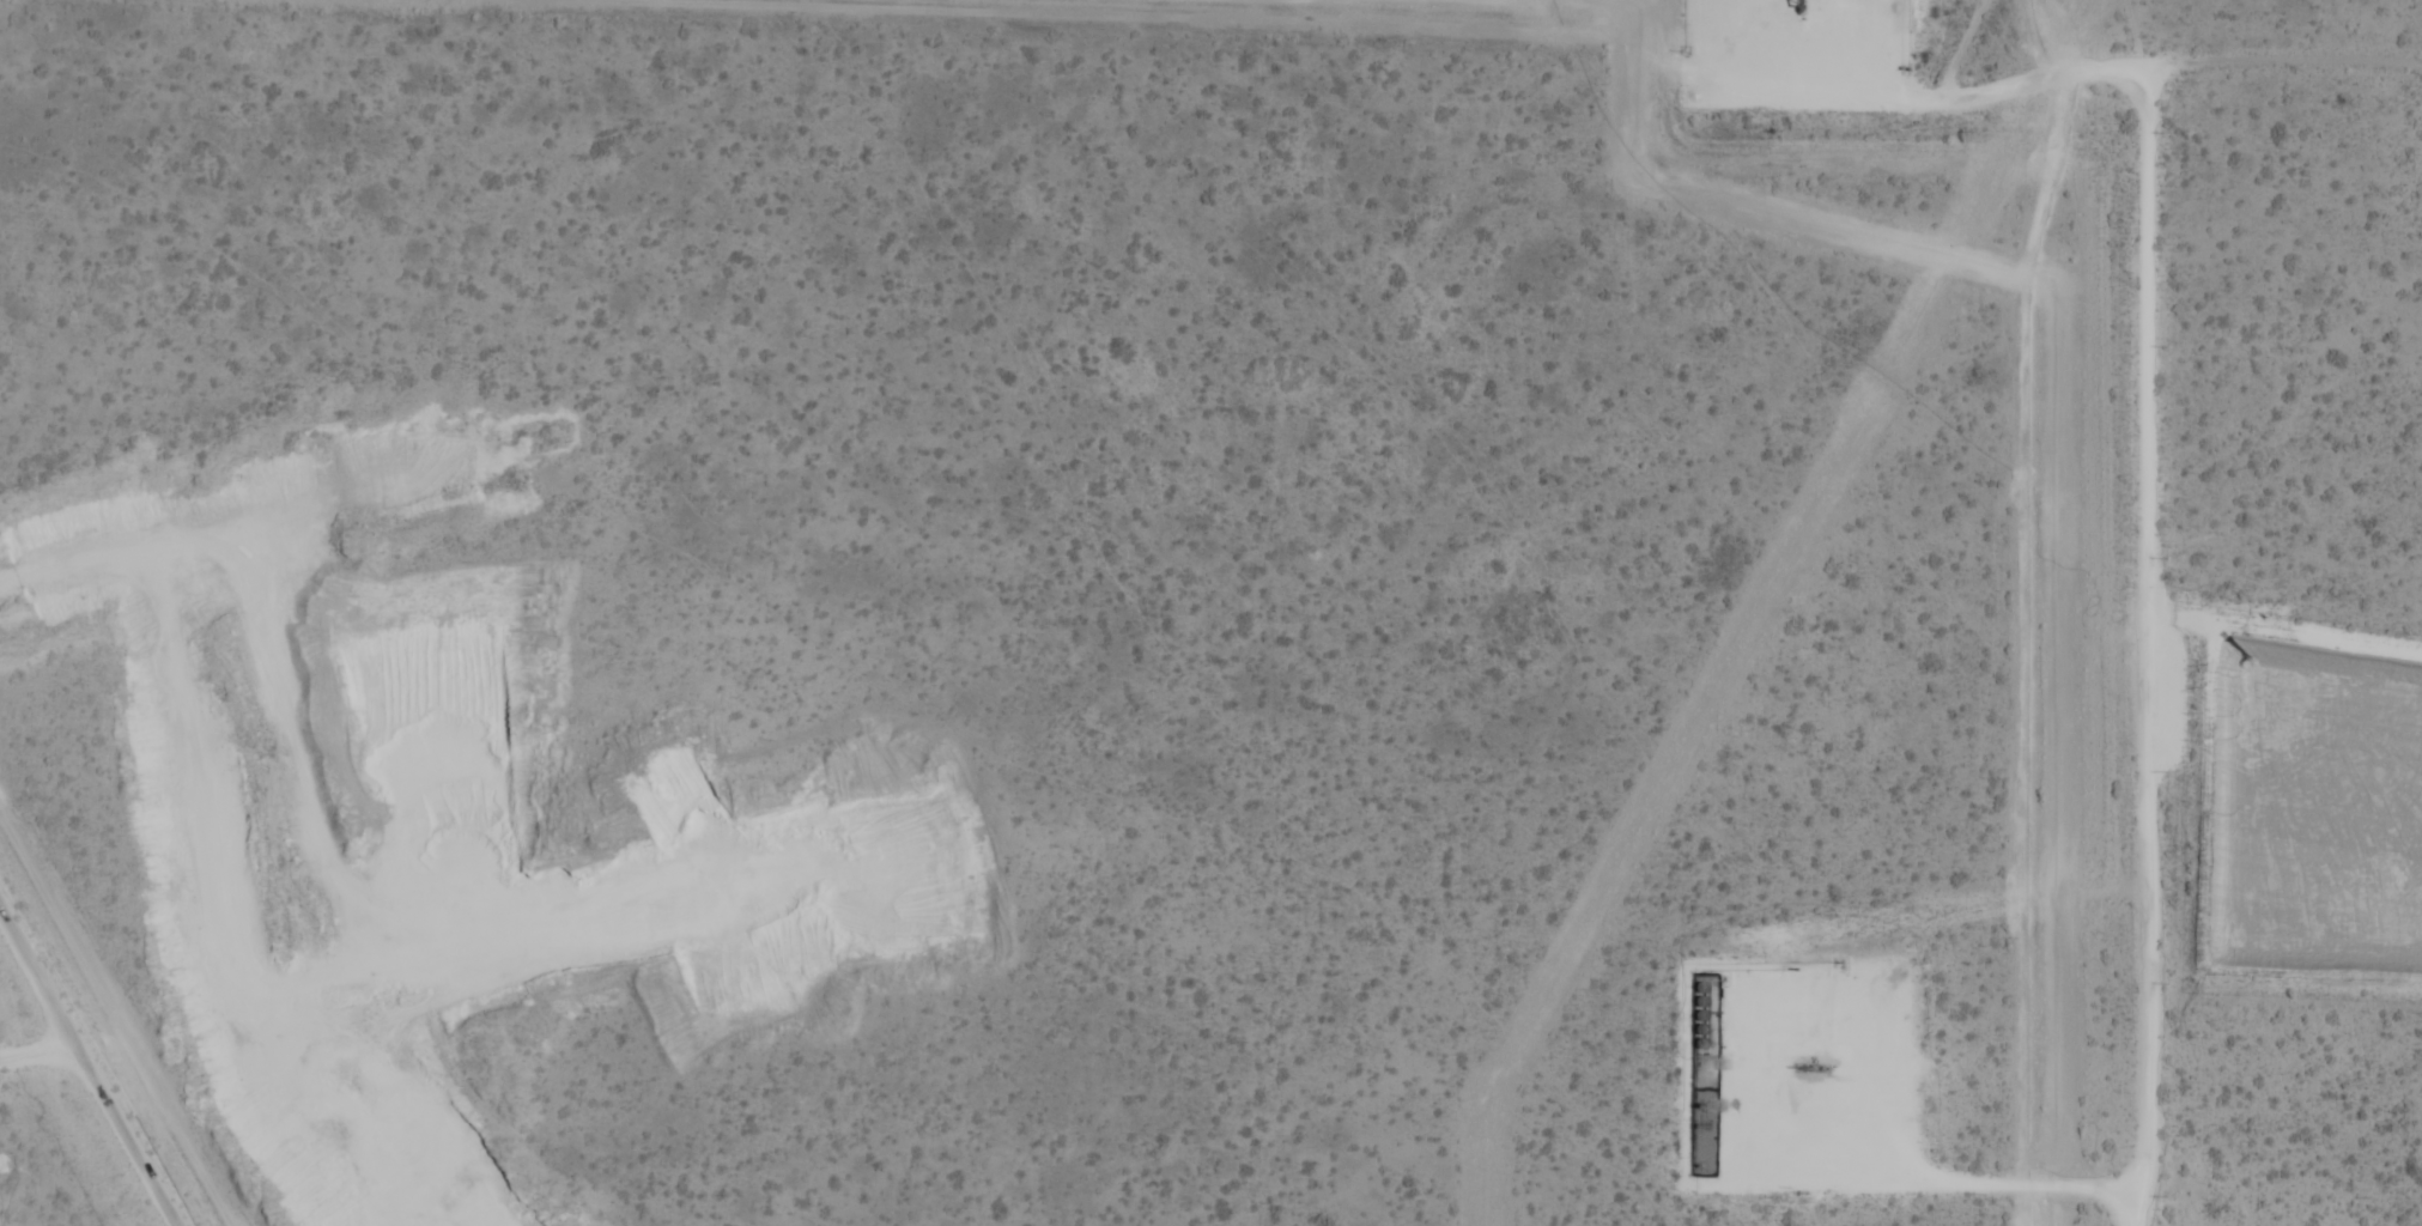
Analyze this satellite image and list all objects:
road: (2142, 427)
road: (36, 1040)
road: (90, 1064)
road: (1932, 1190)

